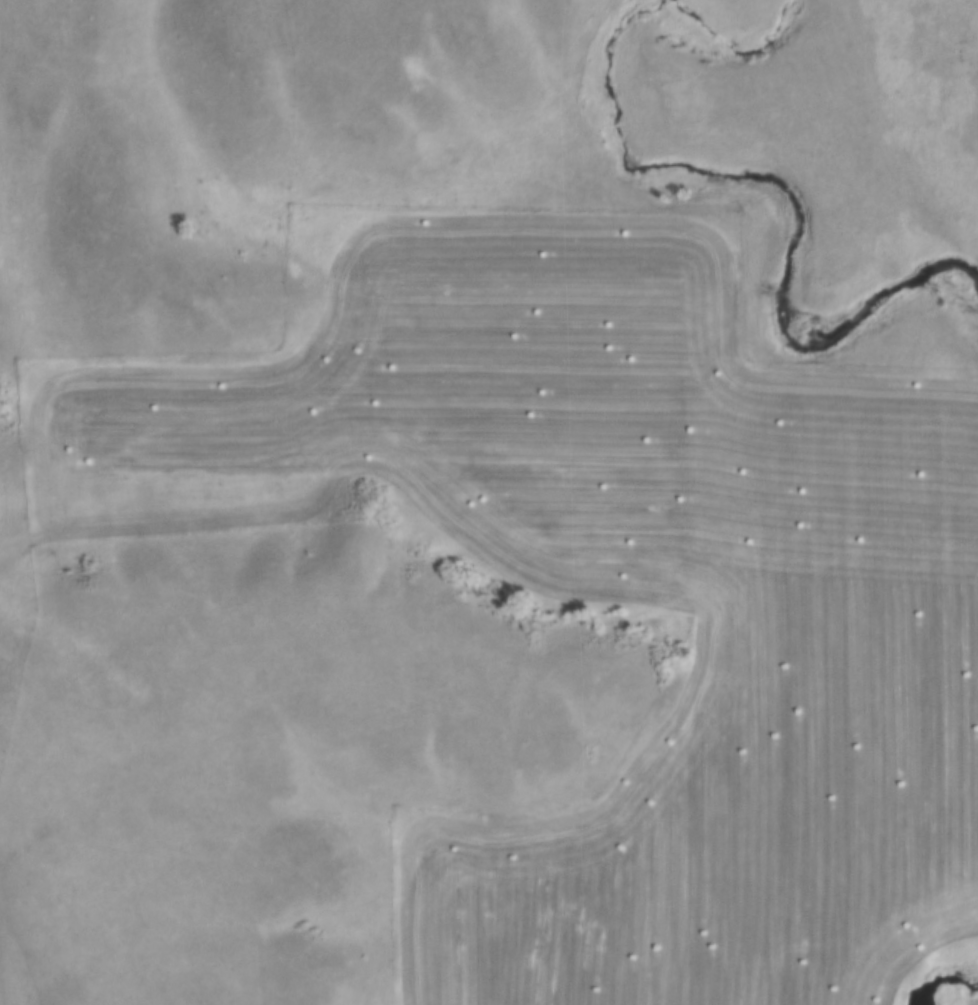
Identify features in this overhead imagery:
road: (1, 986)

